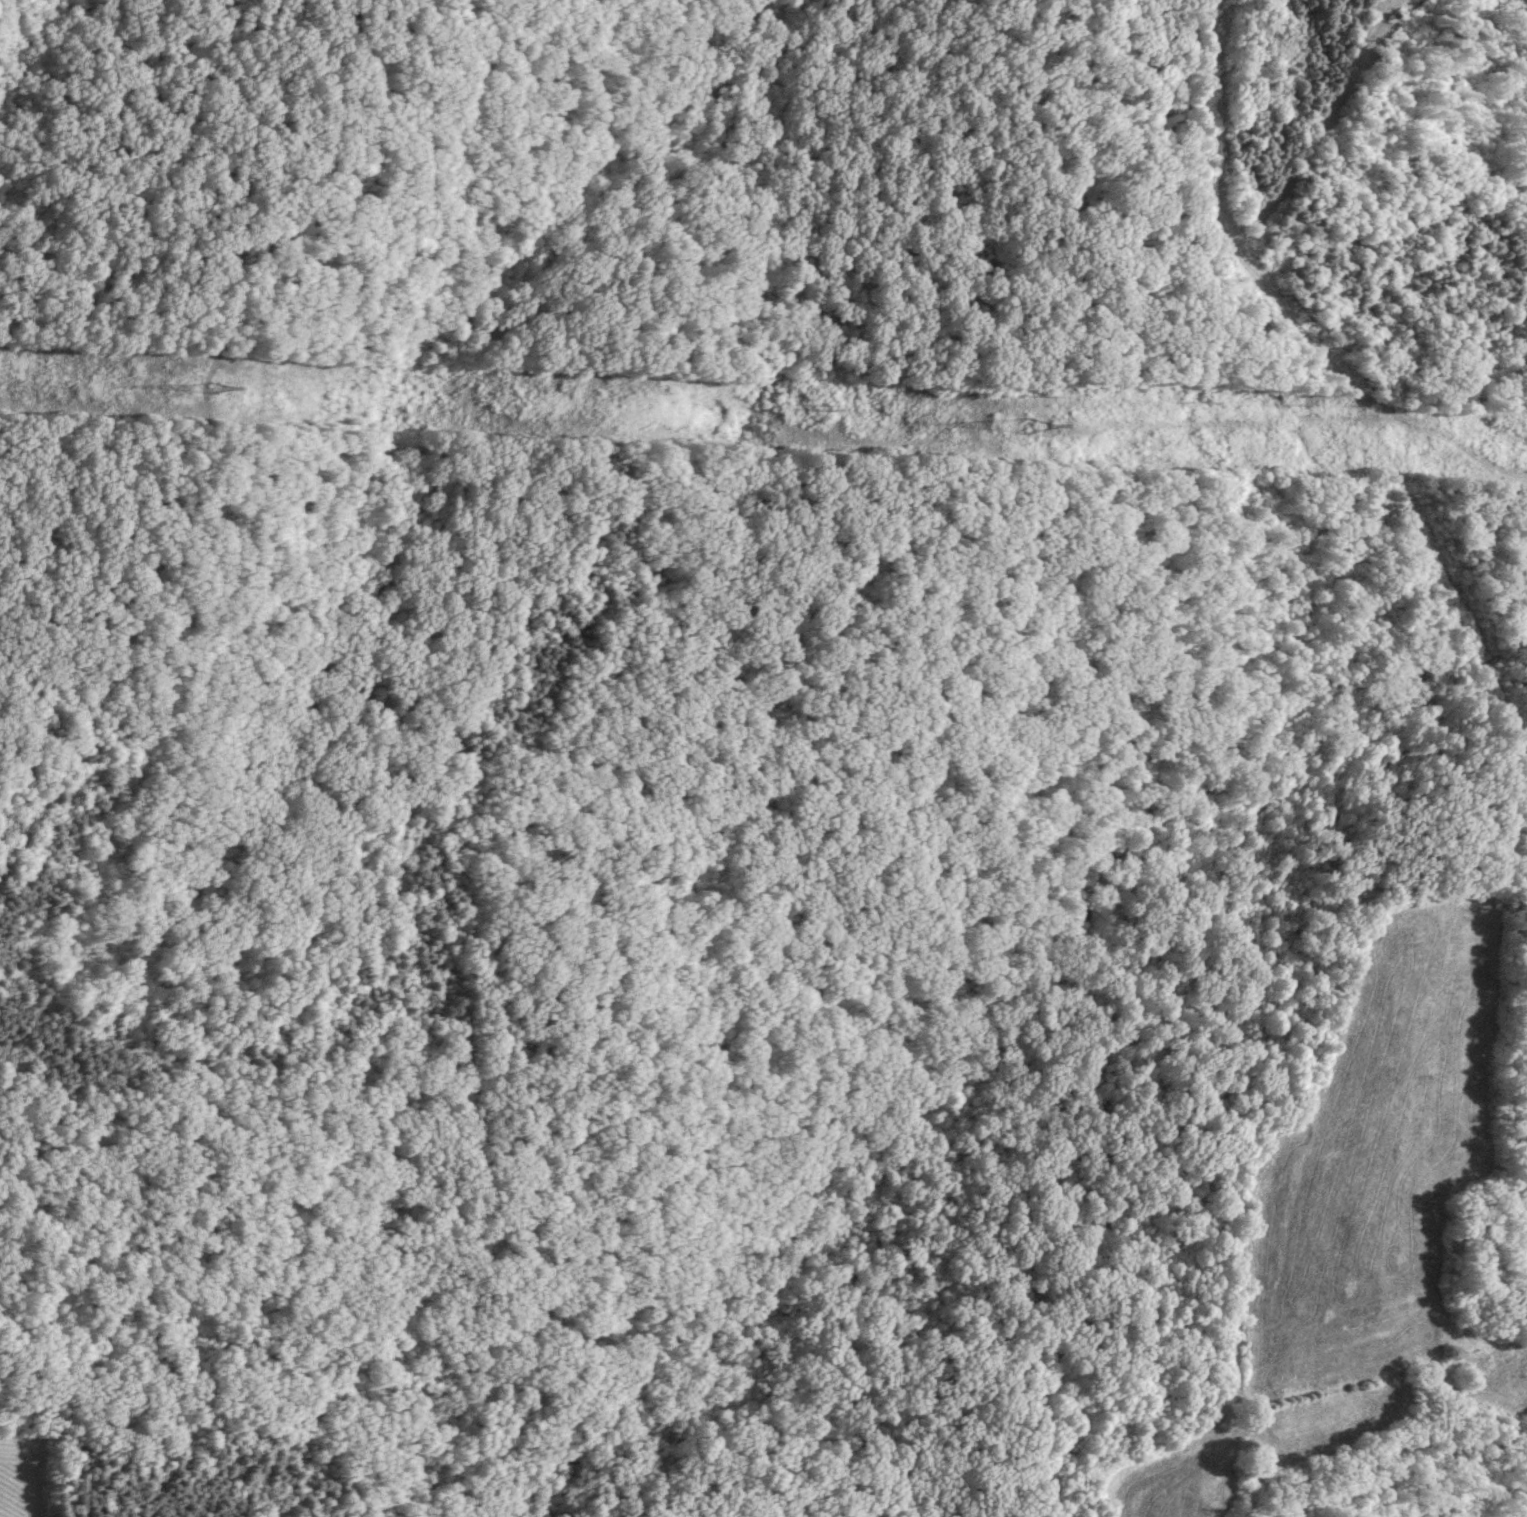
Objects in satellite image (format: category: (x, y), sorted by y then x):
power tower: (213, 393)
power tower: (1030, 429)

